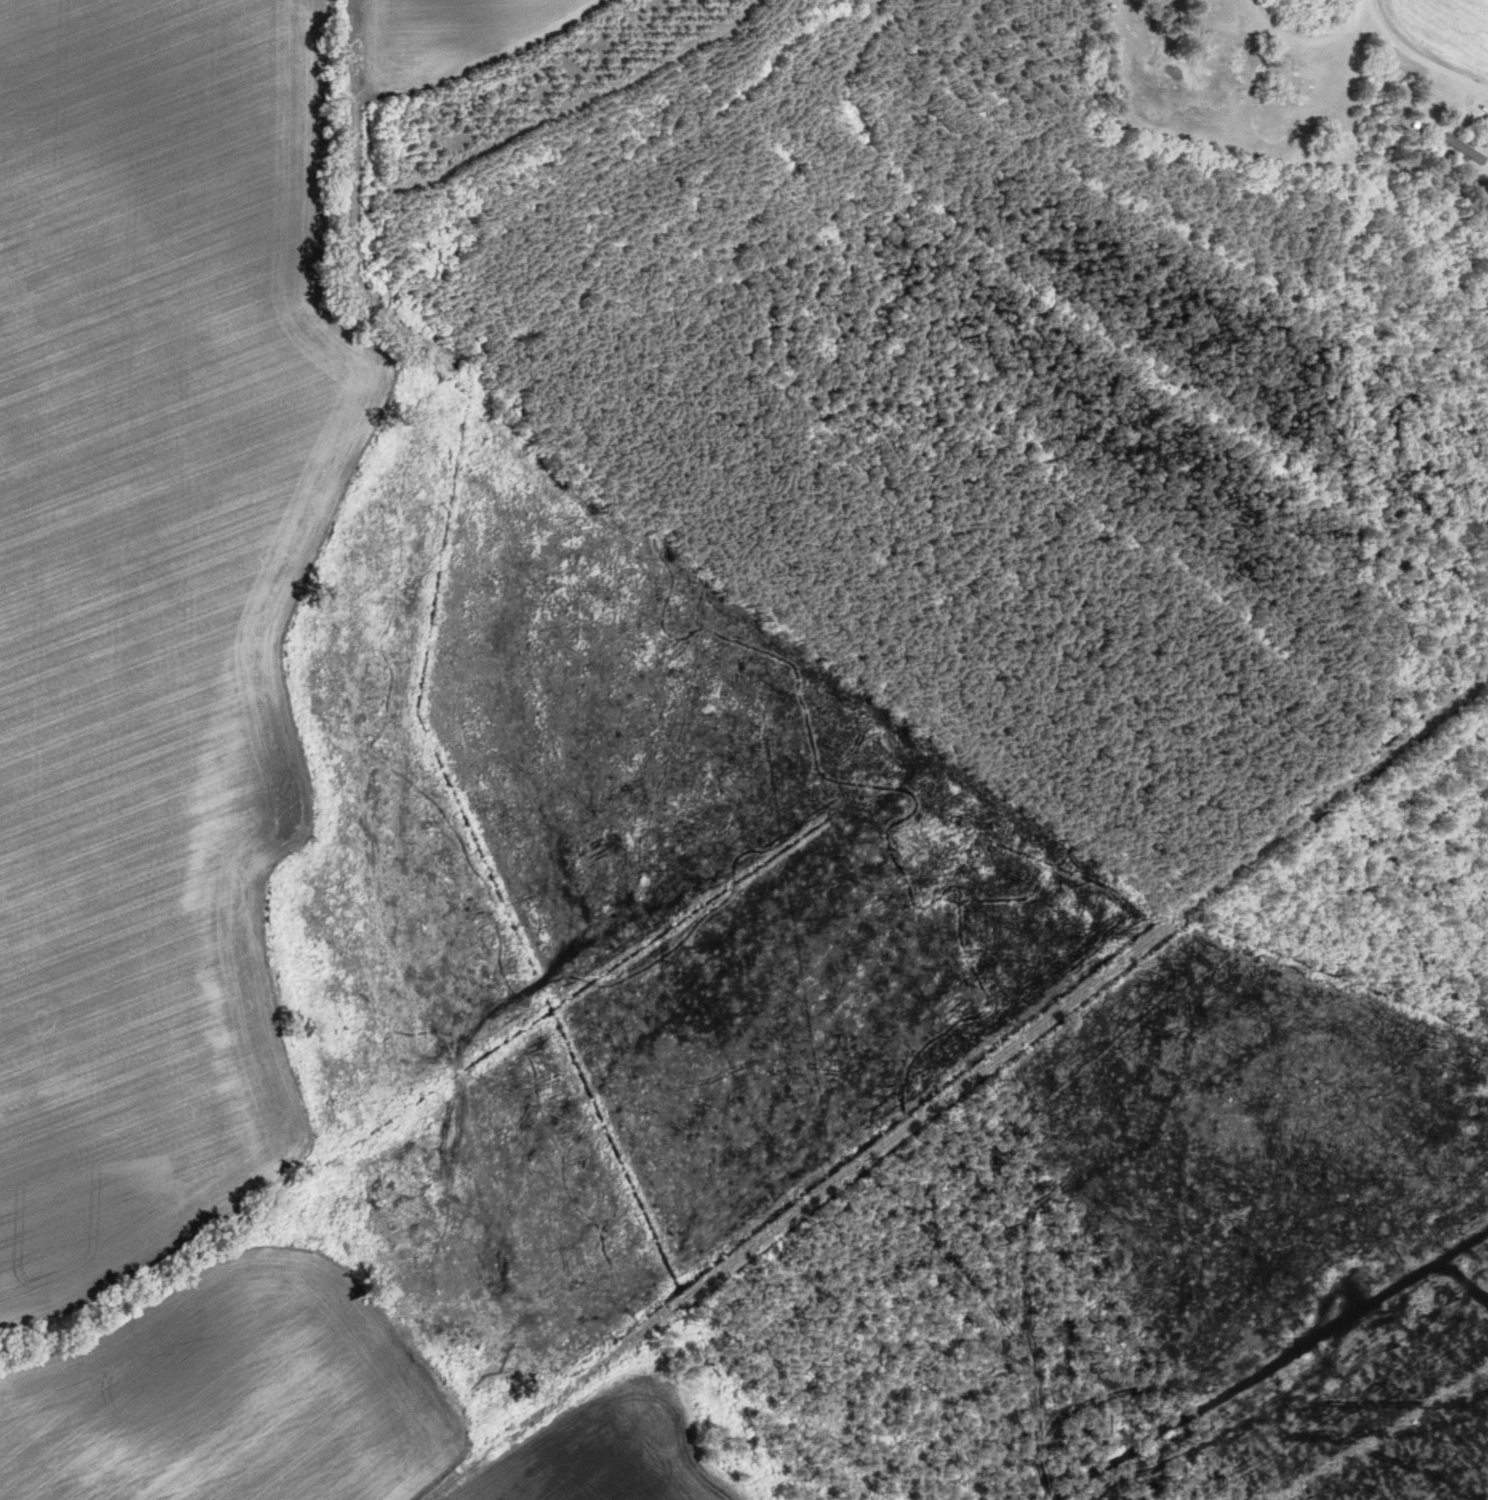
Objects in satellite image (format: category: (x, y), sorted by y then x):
road: (1413, 62)
building: (1463, 154)
railway: (957, 1086)

